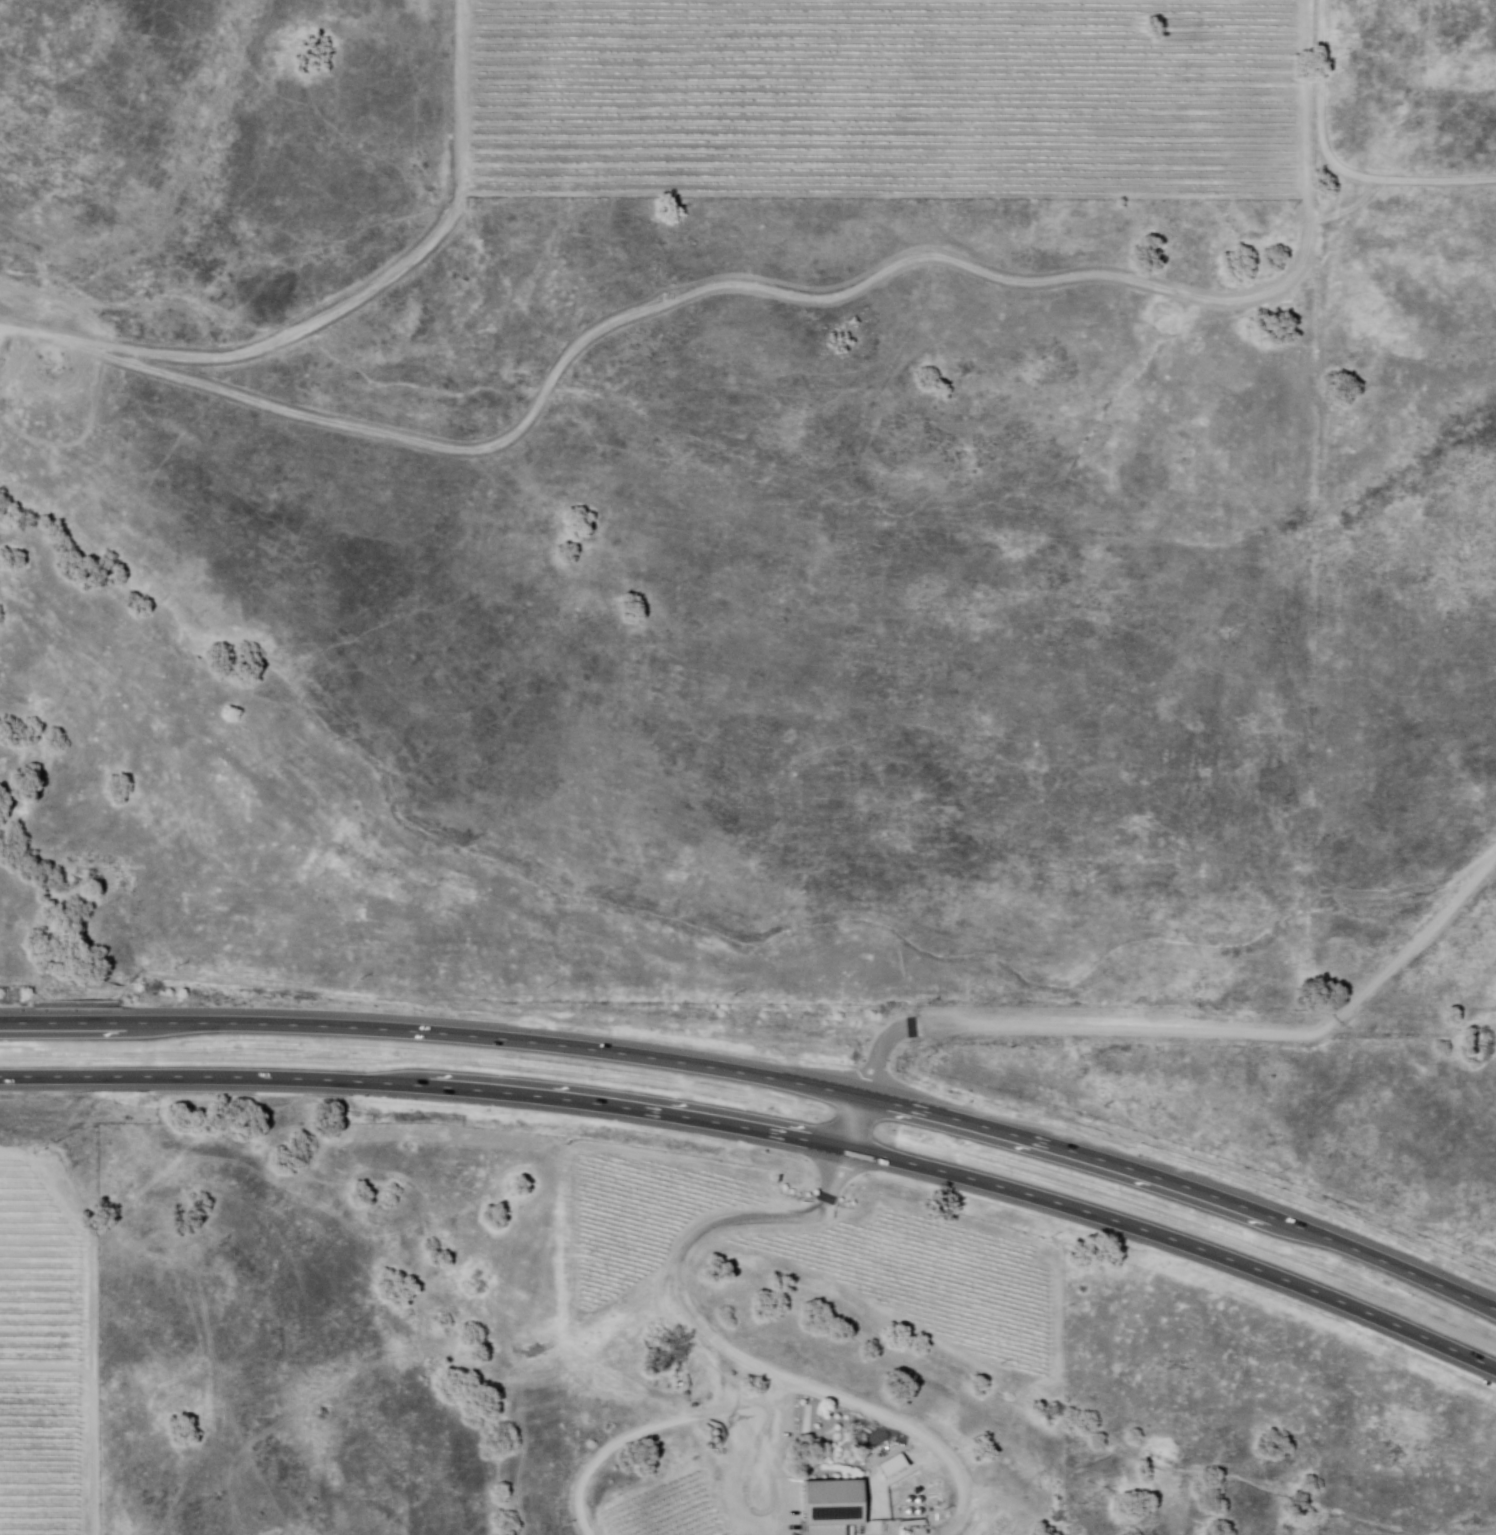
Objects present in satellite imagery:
road: (1335, 161)
road: (1196, 1032)
road: (435, 1033)
road: (859, 1121)
road: (765, 1126)
road: (1186, 1191)
road: (727, 1349)
road: (660, 1429)
building: (893, 1466)
building: (837, 1507)

